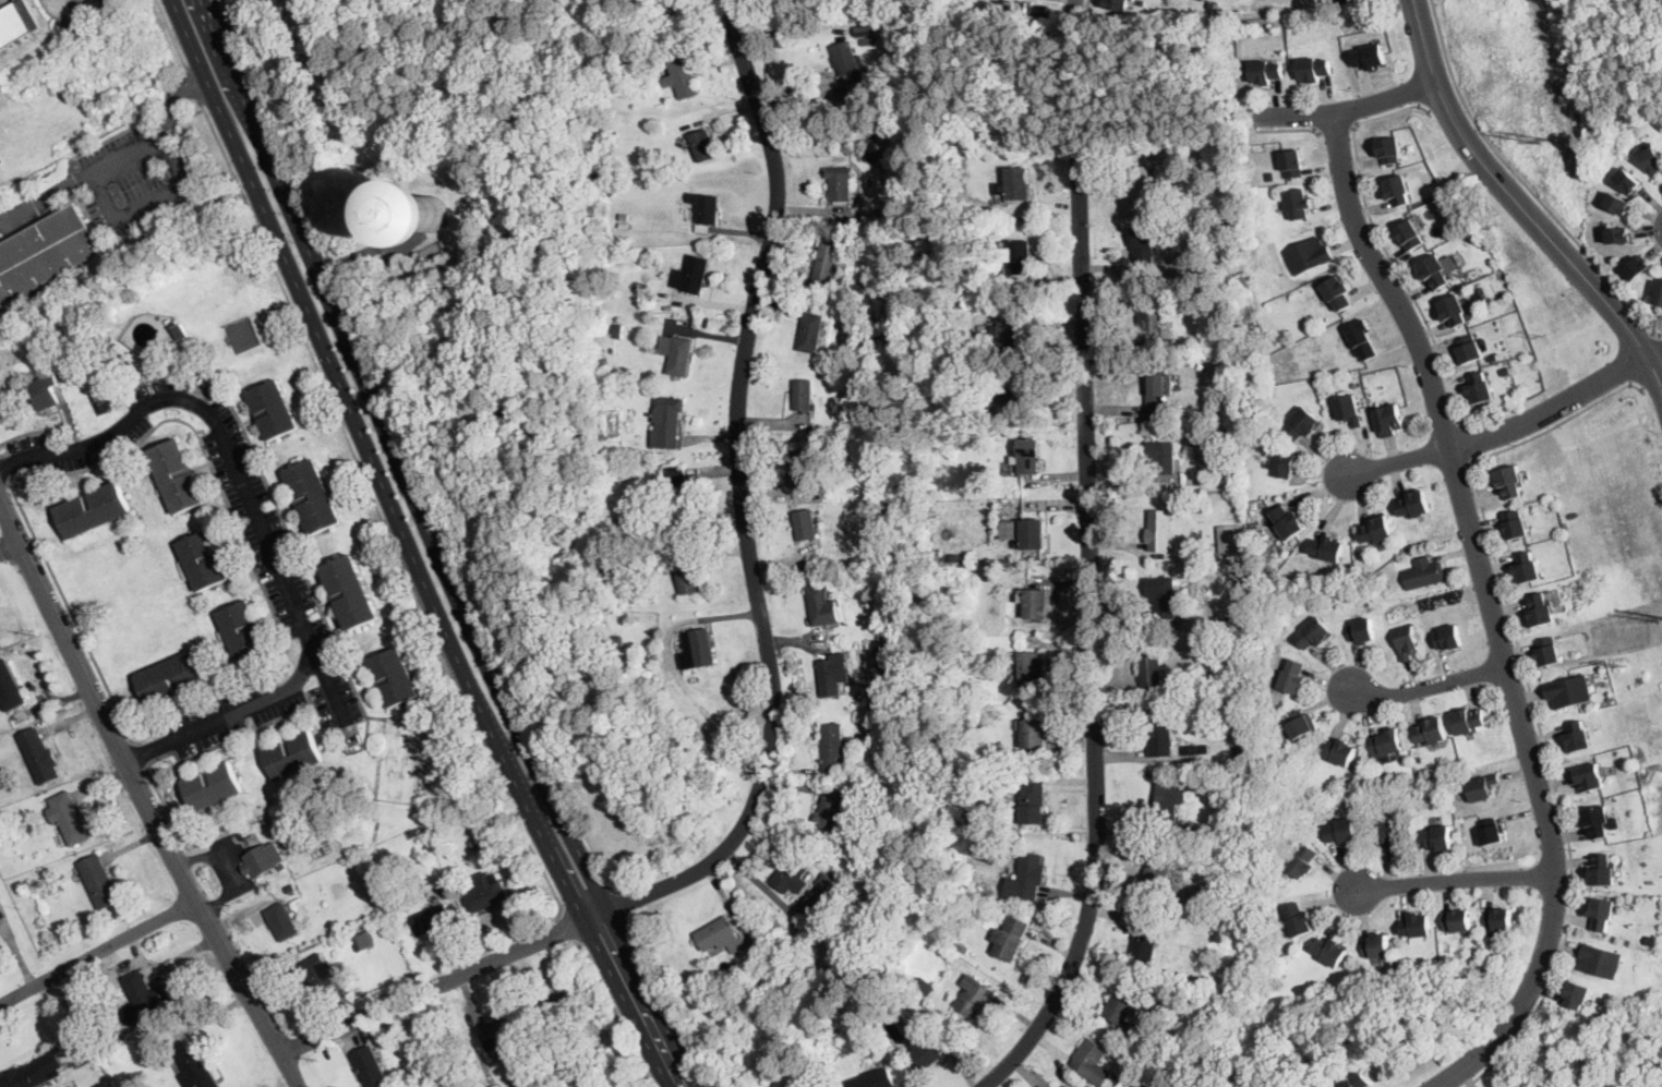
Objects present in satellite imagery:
building: (1142, 1)
building: (1347, 1)
parking lot: (4, 2)
building: (99, 4)
building: (1117, 5)
road: (59, 7)
road: (1087, 7)
road: (1074, 8)
building: (1016, 9)
building: (16, 23)
road: (172, 35)
building: (671, 43)
building: (1370, 57)
building: (847, 62)
building: (1314, 70)
building: (1265, 72)
building: (684, 77)
road: (193, 85)
road: (1385, 99)
road: (172, 100)
road: (1442, 102)
road: (191, 112)
road: (169, 113)
road: (1292, 116)
road: (1335, 129)
road: (1286, 130)
road: (108, 137)
power tower: (1547, 142)
building: (1194, 144)
building: (703, 145)
building: (1000, 148)
building: (1388, 150)
building: (875, 155)
building: (1651, 159)
building: (1290, 164)
road: (81, 176)
road: (1522, 180)
road: (70, 181)
parking lot: (137, 181)
building: (1141, 181)
building: (1628, 181)
building: (841, 182)
building: (1016, 183)
building: (1398, 191)
road: (152, 201)
building: (1297, 204)
road: (1517, 204)
building: (1618, 204)
building: (431, 212)
building: (706, 212)
water tower: (431, 213)
building: (971, 213)
building: (622, 226)
building: (1220, 231)
building: (1409, 235)
building: (1619, 235)
road: (1383, 243)
building: (1143, 250)
building: (46, 252)
building: (1017, 255)
building: (1308, 256)
building: (829, 264)
building: (1637, 268)
building: (1435, 271)
building: (692, 274)
building: (786, 286)
building: (1203, 292)
building: (1336, 292)
building: (1660, 294)
building: (1202, 302)
building: (1454, 311)
building: (1149, 315)
building: (1470, 315)
building: (178, 328)
building: (616, 329)
building: (810, 331)
building: (1008, 331)
power tower: (1540, 335)
road: (1660, 338)
building: (1361, 340)
building: (1469, 351)
building: (676, 353)
building: (1494, 355)
road: (1655, 357)
building: (1267, 359)
building: (601, 362)
building: (1507, 370)
building: (602, 372)
building: (1315, 378)
road: (1650, 381)
building: (1368, 387)
building: (1480, 388)
building: (44, 391)
building: (804, 395)
building: (1014, 395)
building: (1158, 395)
building: (601, 397)
building: (273, 410)
building: (1347, 410)
building: (1388, 420)
building: (666, 422)
building: (1302, 424)
road: (1504, 430)
parking lot: (99, 432)
road: (1469, 443)
building: (605, 450)
road: (410, 454)
building: (1028, 455)
building: (1161, 457)
road: (373, 462)
road: (10, 463)
building: (1284, 464)
building: (800, 469)
building: (605, 470)
building: (1227, 471)
road: (3, 472)
building: (177, 476)
building: (1509, 482)
building: (984, 484)
building: (676, 490)
building: (312, 496)
road: (740, 505)
building: (1414, 505)
building: (93, 509)
road: (377, 510)
road: (257, 514)
building: (1287, 522)
building: (806, 524)
building: (1515, 524)
road: (239, 529)
building: (1376, 529)
building: (1158, 530)
building: (1025, 532)
building: (1230, 536)
road: (9, 548)
road: (437, 548)
building: (1327, 548)
building: (1267, 549)
building: (202, 560)
parking lot: (278, 566)
building: (1527, 568)
building: (1423, 573)
building: (615, 575)
building: (688, 575)
building: (1360, 575)
building: (998, 576)
building: (1240, 579)
building: (1286, 582)
building: (351, 592)
building: (1161, 595)
building: (1034, 603)
building: (822, 605)
road: (1492, 611)
building: (1541, 611)
road: (71, 612)
building: (242, 630)
building: (1361, 631)
building: (1314, 633)
road: (1091, 636)
building: (1015, 638)
building: (1447, 638)
building: (614, 641)
building: (1406, 641)
building: (697, 649)
building: (1547, 651)
building: (880, 656)
power tower: (1622, 664)
building: (1149, 666)
building: (1032, 668)
building: (833, 674)
building: (173, 677)
building: (394, 677)
building: (1292, 677)
road: (1430, 685)
road: (330, 687)
building: (9, 688)
building: (1568, 691)
road: (1531, 695)
parking lot: (231, 714)
building: (1468, 720)
building: (871, 722)
building: (1300, 724)
building: (1431, 730)
building: (1033, 733)
building: (1159, 735)
building: (1577, 737)
building: (1387, 742)
building: (832, 748)
building: (1196, 749)
road: (147, 751)
building: (1340, 751)
building: (1239, 752)
building: (292, 754)
building: (39, 756)
road: (141, 756)
building: (1002, 760)
building: (1588, 777)
road: (134, 783)
building: (212, 786)
building: (1481, 787)
building: (1033, 802)
building: (1167, 802)
road: (169, 811)
building: (833, 811)
building: (973, 816)
building: (68, 817)
building: (267, 818)
building: (862, 822)
building: (1595, 822)
building: (973, 828)
building: (1340, 832)
building: (1491, 832)
building: (1387, 833)
building: (1436, 838)
building: (473, 845)
building: (1181, 855)
building: (263, 859)
building: (1301, 861)
building: (1157, 870)
building: (1602, 870)
building: (792, 875)
building: (1026, 878)
road: (1455, 879)
building: (824, 880)
building: (99, 881)
building: (19, 884)
building: (291, 886)
building: (852, 890)
building: (486, 892)
building: (1212, 897)
road: (625, 904)
building: (2, 913)
building: (1601, 914)
building: (431, 919)
building: (1500, 919)
building: (282, 920)
building: (1298, 920)
building: (1457, 921)
building: (1416, 926)
road: (574, 931)
building: (1219, 935)
building: (720, 937)
building: (1011, 938)
building: (1144, 938)
building: (1652, 939)
building: (946, 940)
building: (361, 941)
building: (1377, 946)
building: (961, 949)
building: (1330, 951)
road: (96, 952)
building: (1601, 961)
building: (747, 962)
building: (316, 973)
road: (433, 988)
building: (927, 988)
building: (146, 994)
building: (1578, 994)
building: (974, 995)
road: (669, 1000)
road: (628, 1003)
building: (554, 1007)
building: (1120, 1009)
road: (618, 1016)
building: (498, 1031)
building: (868, 1037)
building: (1136, 1038)
building: (930, 1049)
building: (1092, 1062)
building: (370, 1067)
building: (195, 1070)
road: (289, 1071)
building: (35, 1072)
building: (401, 1075)
building: (395, 1078)
building: (872, 1079)
building: (580, 1082)
building: (1356, 1082)

